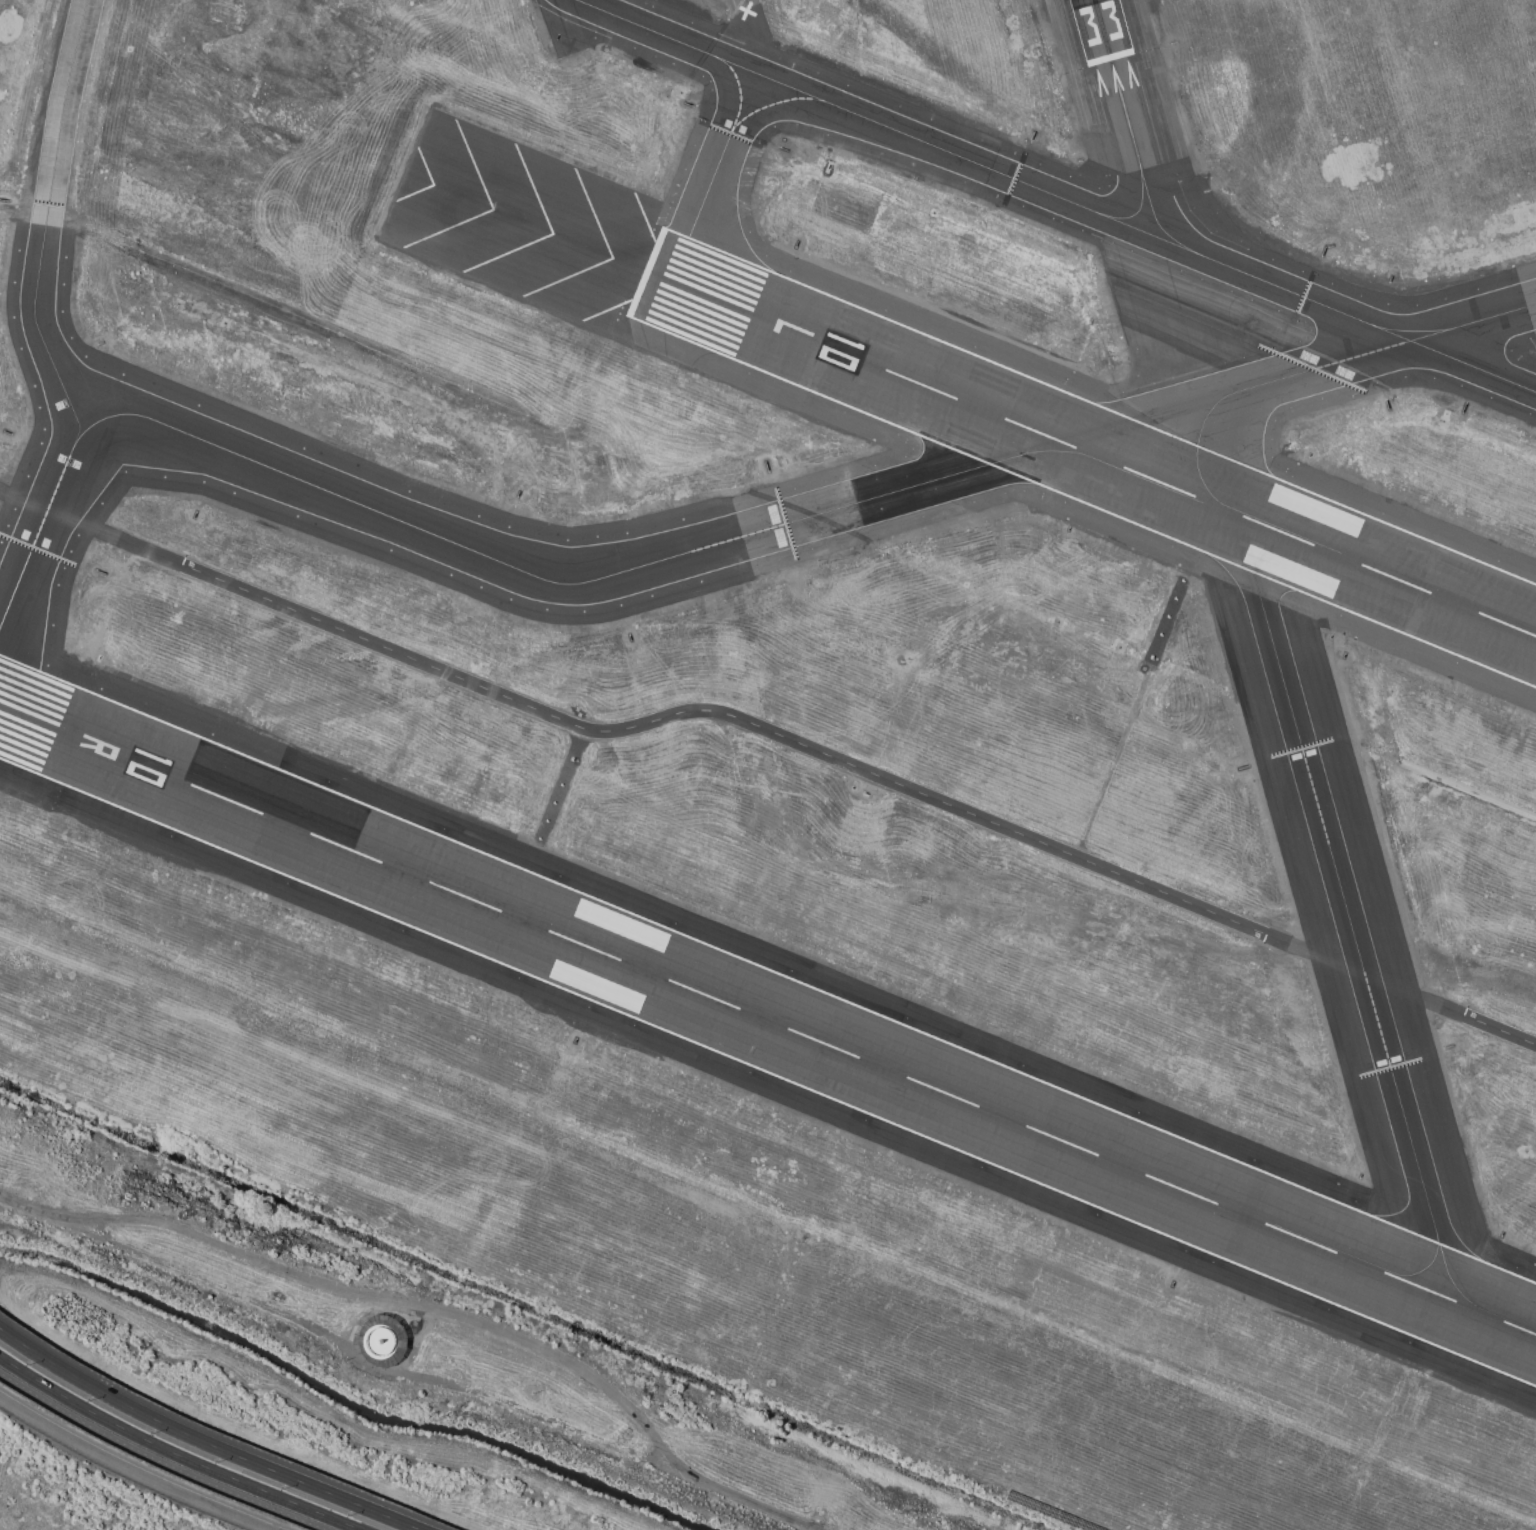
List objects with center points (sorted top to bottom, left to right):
airport runway: (1104, 30)
airport taxiway: (740, 98)
airport taxiway: (1124, 104)
airport taxiway: (766, 106)
airport taxiway: (1055, 195)
airport taxiway: (1139, 209)
airport taxiway: (1156, 219)
airport taxiway: (701, 220)
airport taxiway: (34, 321)
airport taxiway: (1410, 331)
airport taxiway: (1385, 348)
airport taxiway: (1073, 451)
airport runway: (1091, 454)
airport taxiway: (1196, 454)
airport taxiway: (554, 582)
road: (682, 712)
airport taxiway: (1300, 740)
airport: (768, 765)
road: (1449, 1003)
airport runway: (767, 1021)
airport taxiway: (1397, 1095)
airport taxiway: (1431, 1262)
airport taxiway: (1458, 1277)
road: (434, 1309)
road: (204, 1441)
road: (170, 1455)
road: (156, 1460)

